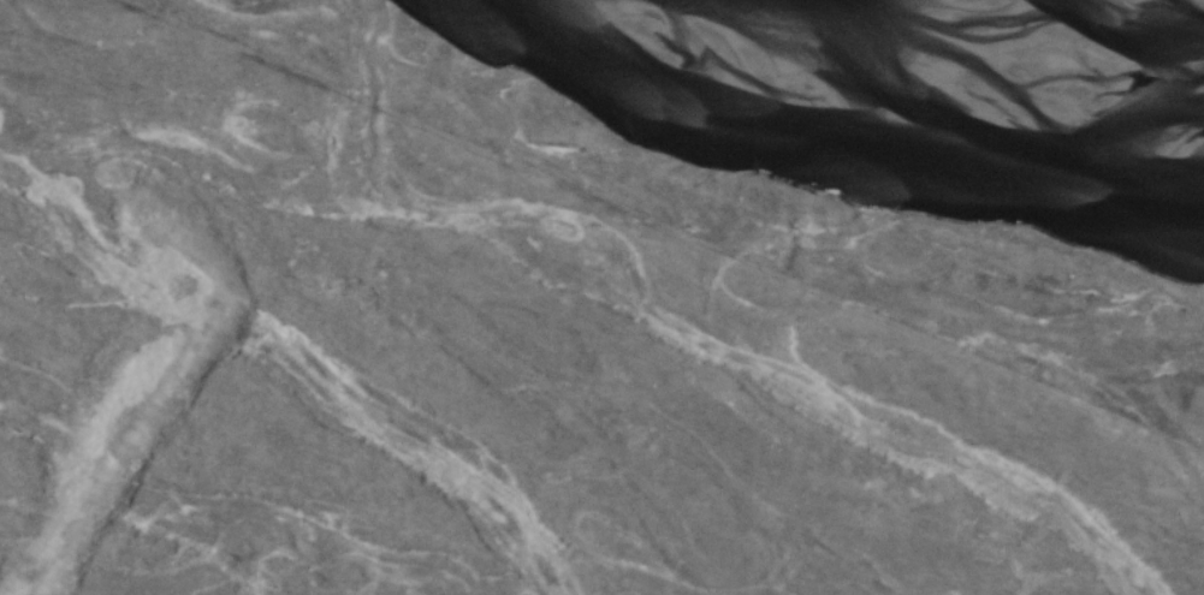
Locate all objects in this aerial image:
river: (1108, 32)

